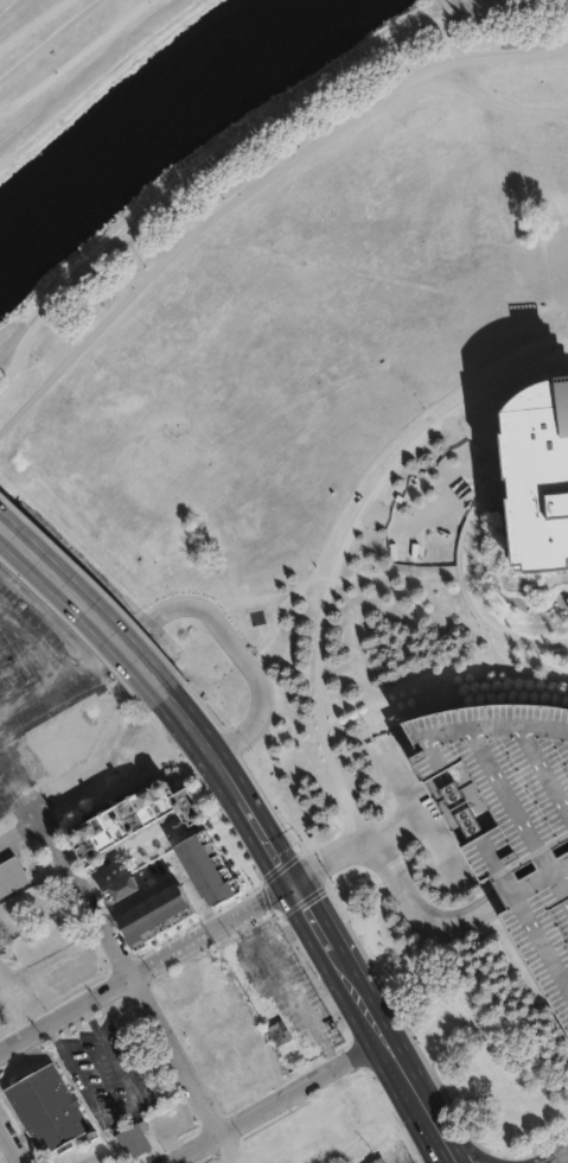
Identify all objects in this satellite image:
road: (540, 5)
road: (451, 9)
road: (487, 15)
road: (50, 30)
road: (506, 30)
road: (52, 38)
road: (531, 40)
road: (440, 64)
road: (503, 89)
river: (147, 110)
park: (193, 131)
road: (219, 158)
road: (225, 204)
park: (393, 235)
road: (371, 469)
building: (537, 470)
road: (457, 560)
road: (388, 572)
road: (87, 606)
road: (2, 618)
road: (211, 619)
road: (32, 642)
parking lot: (50, 644)
road: (19, 659)
road: (32, 693)
building: (68, 738)
road: (1, 749)
road: (210, 755)
road: (19, 777)
road: (33, 803)
road: (416, 813)
building: (508, 814)
parking garage: (508, 814)
building: (133, 818)
road: (20, 831)
road: (352, 846)
road: (270, 850)
road: (128, 853)
building: (12, 877)
traffic signals: (291, 882)
road: (419, 911)
road: (314, 924)
road: (145, 966)
road: (140, 991)
building: (276, 1031)
road: (383, 1049)
building: (288, 1055)
building: (238, 1076)
road: (270, 1101)
building: (47, 1110)
building: (135, 1142)
road: (9, 1145)
road: (436, 1146)
road: (459, 1146)
building: (381, 1161)

